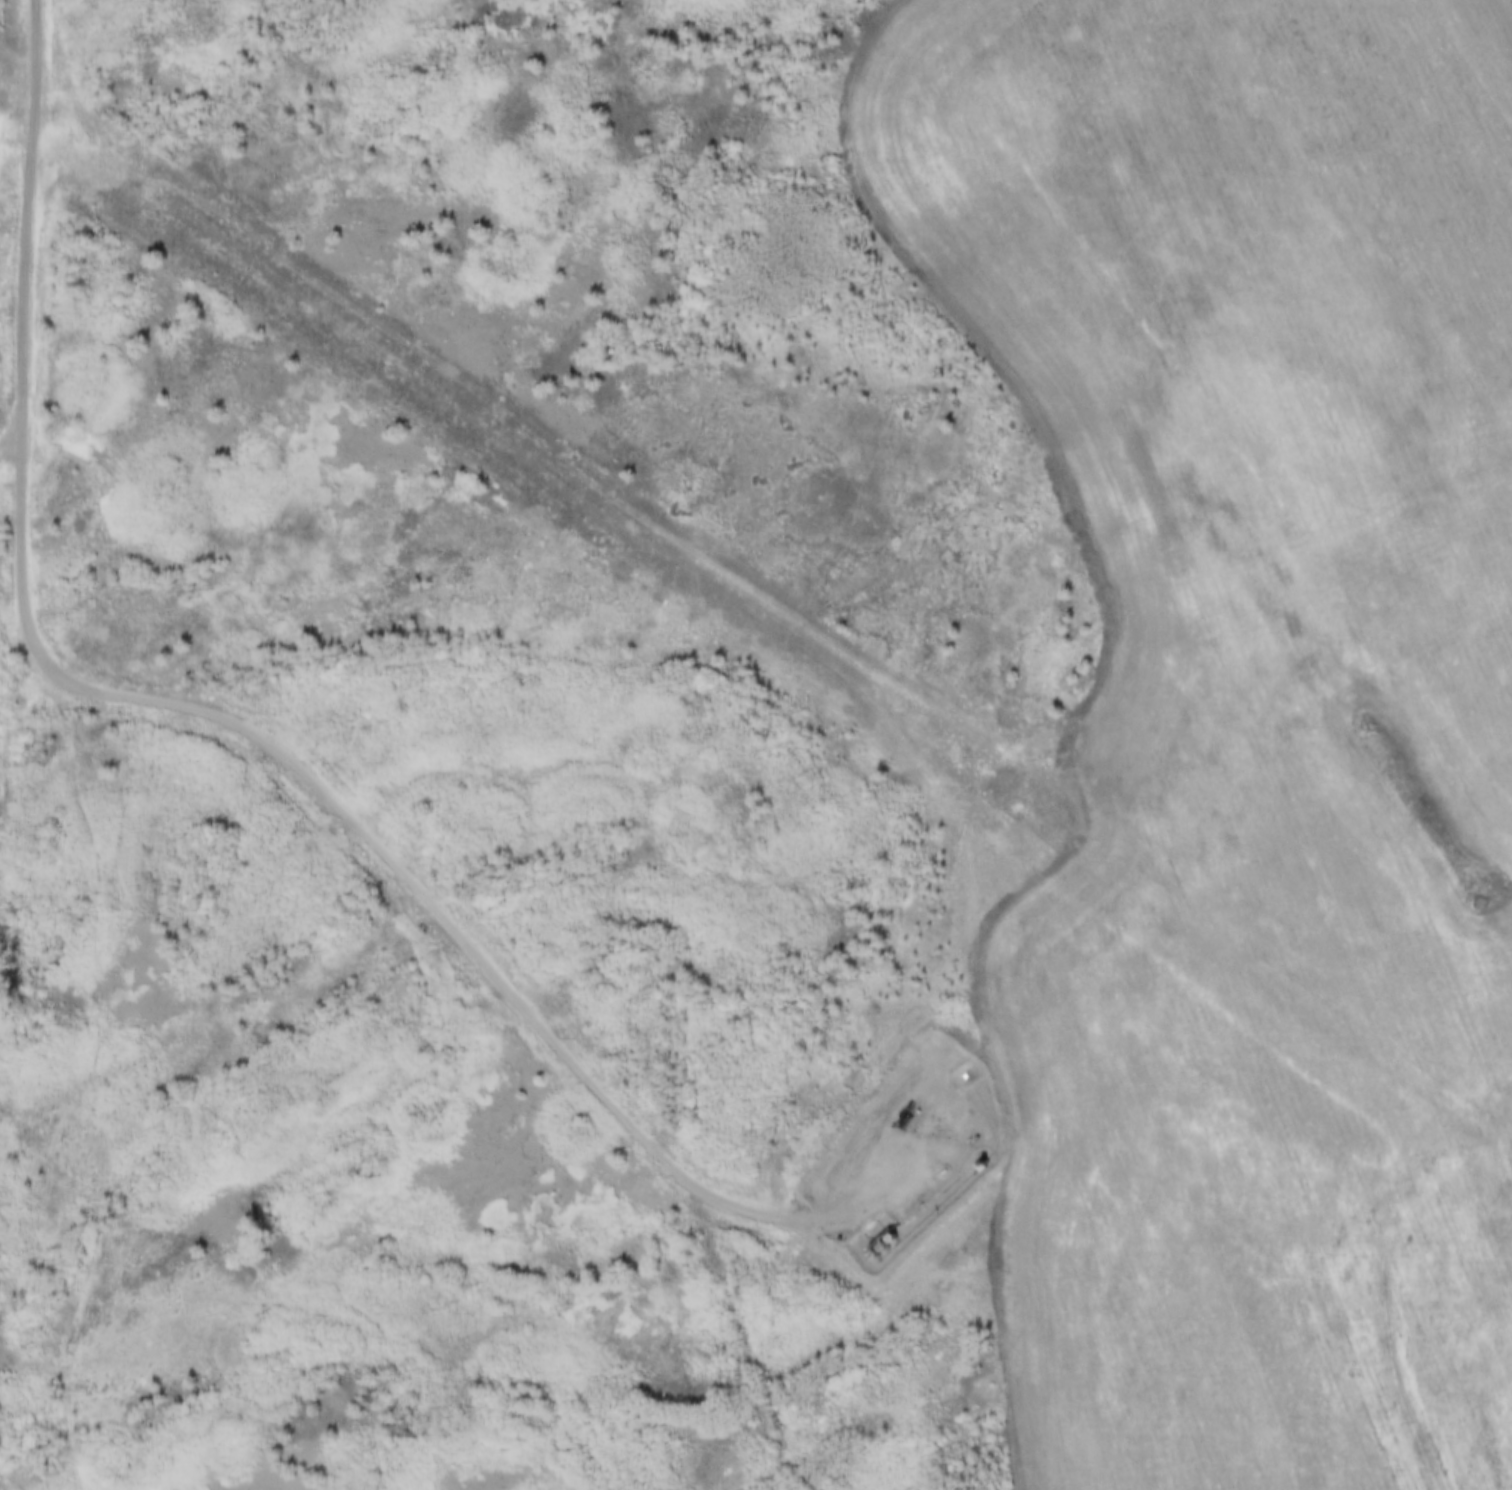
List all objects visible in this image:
road: (10, 413)
road: (286, 766)
road: (745, 1332)

